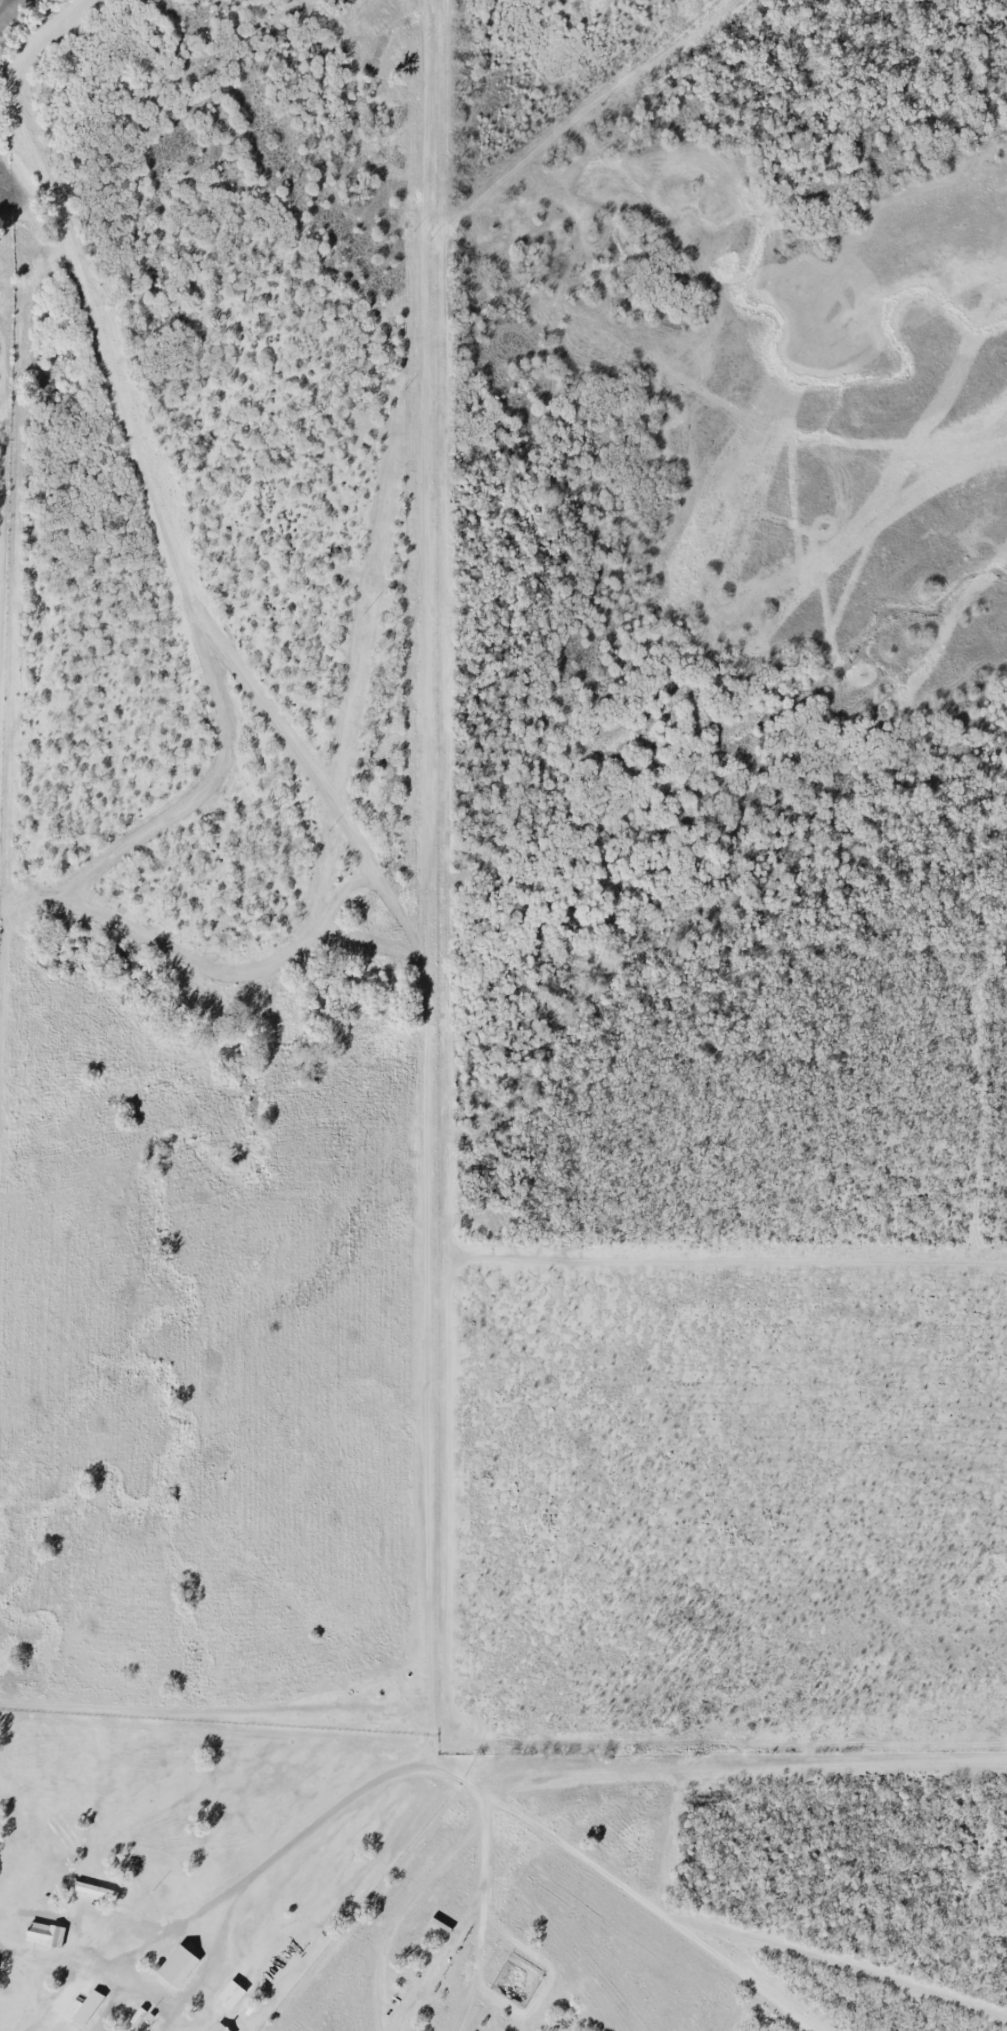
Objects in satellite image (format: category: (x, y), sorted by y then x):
road: (502, 1804)
building: (94, 1890)
building: (45, 1934)
road: (90, 1965)
building: (176, 1965)
building: (230, 1994)
building: (87, 2004)
building: (219, 2027)

